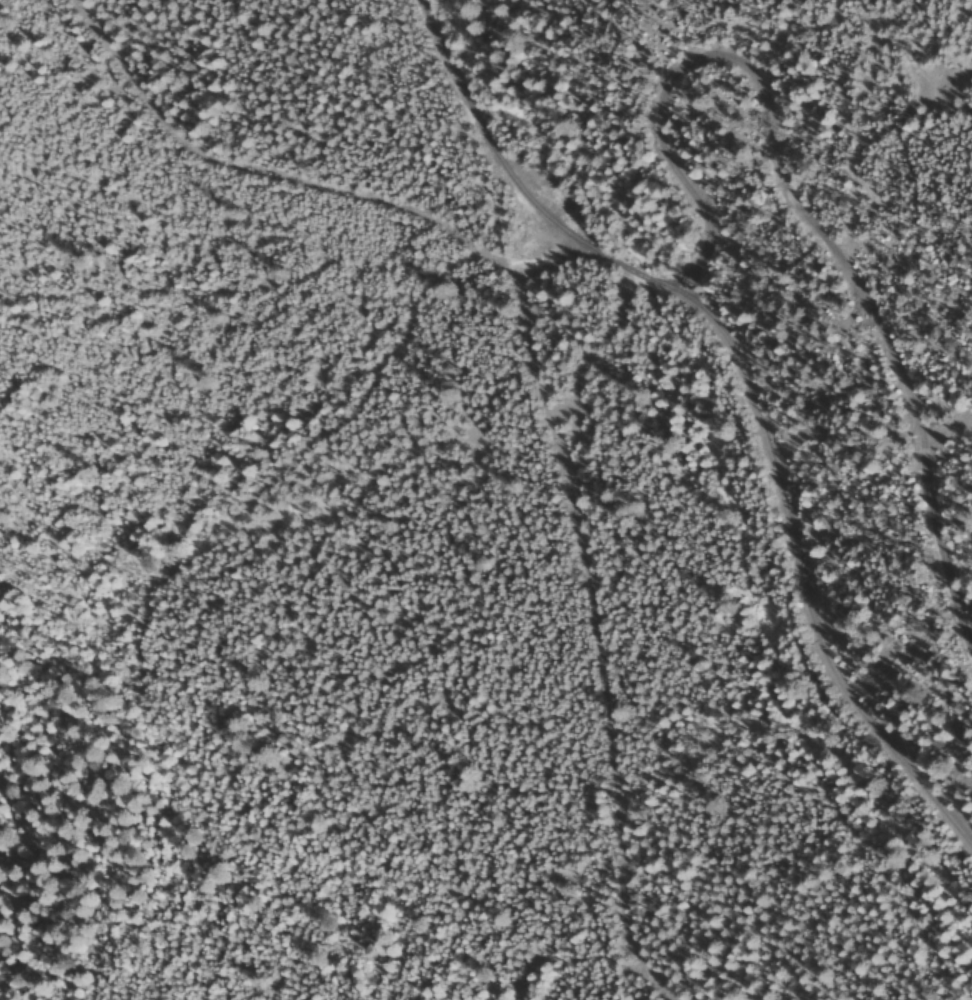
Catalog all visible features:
road: (463, 158)
road: (214, 278)
road: (808, 550)
road: (598, 677)

